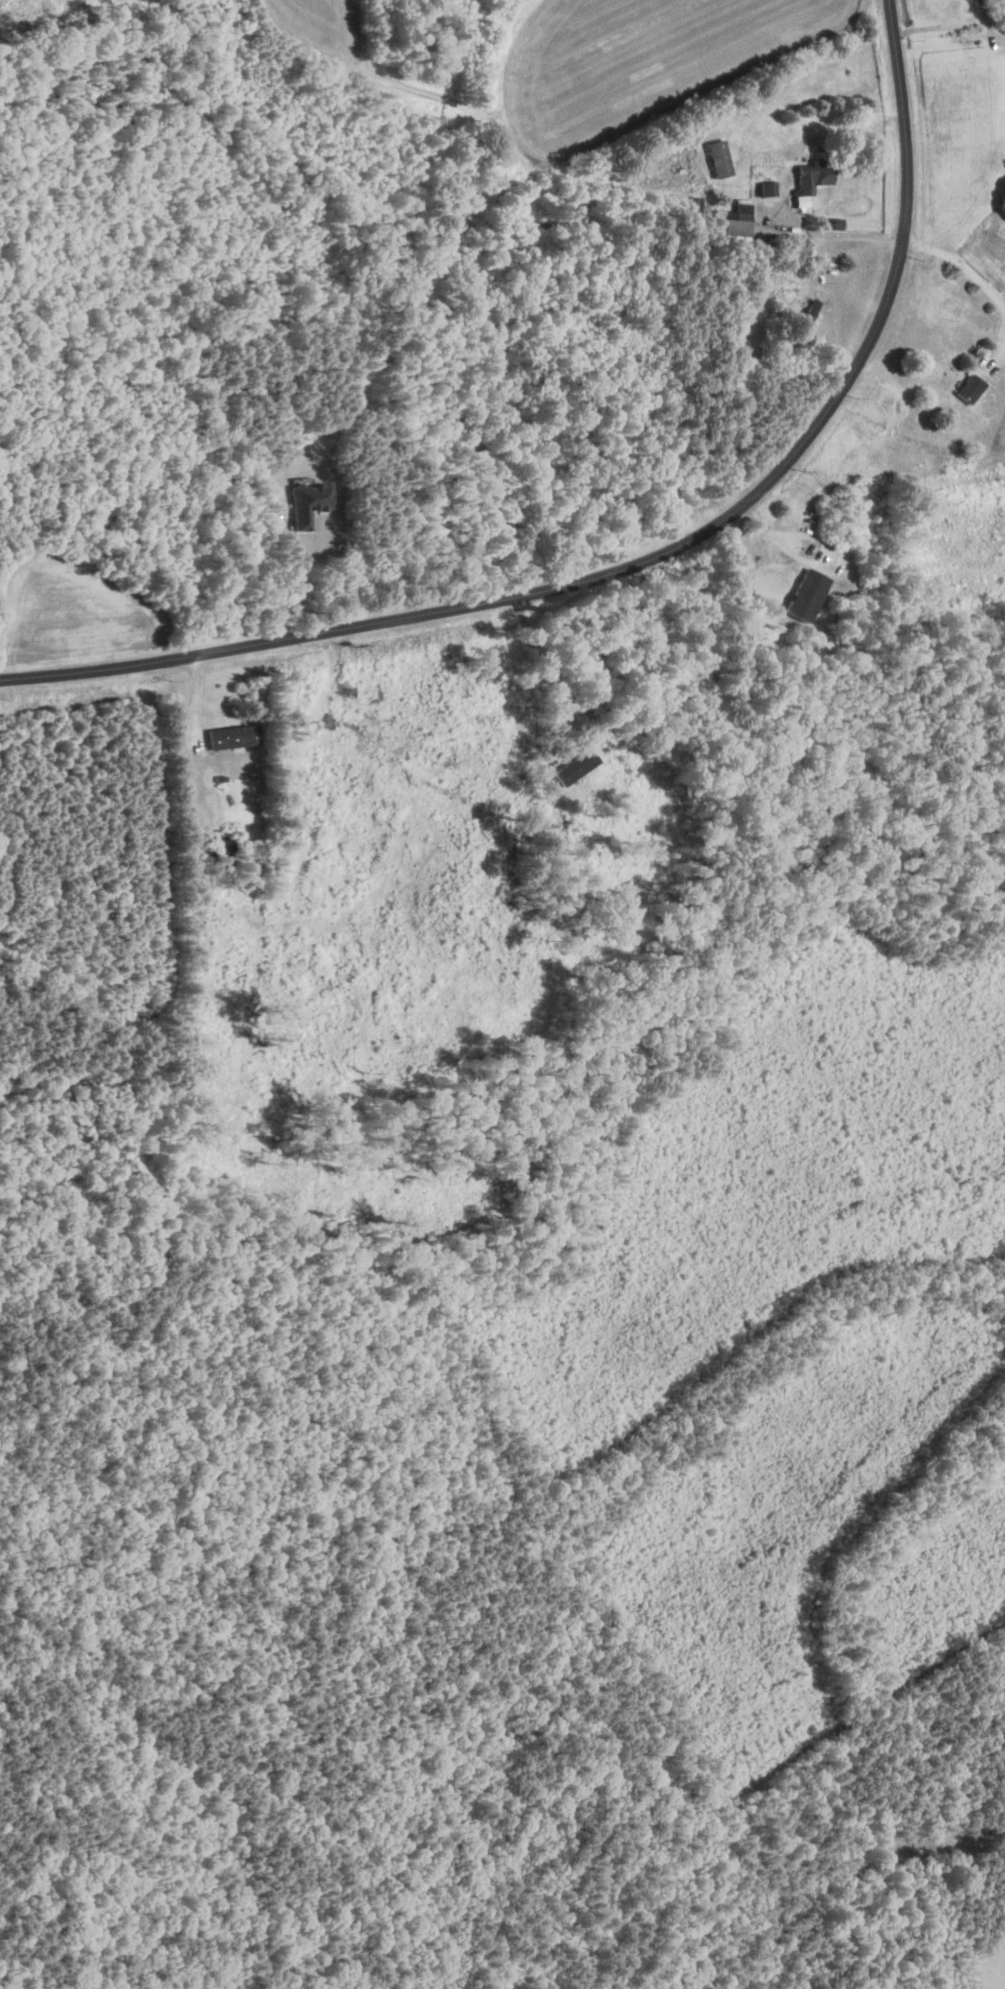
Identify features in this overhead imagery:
building: (997, 3)
building: (719, 159)
building: (813, 176)
building: (767, 189)
building: (733, 220)
road: (837, 233)
road: (980, 277)
building: (970, 389)
building: (307, 501)
road: (654, 561)
road: (299, 581)
building: (807, 594)
road: (543, 673)
building: (232, 735)
building: (574, 766)
building: (224, 849)

